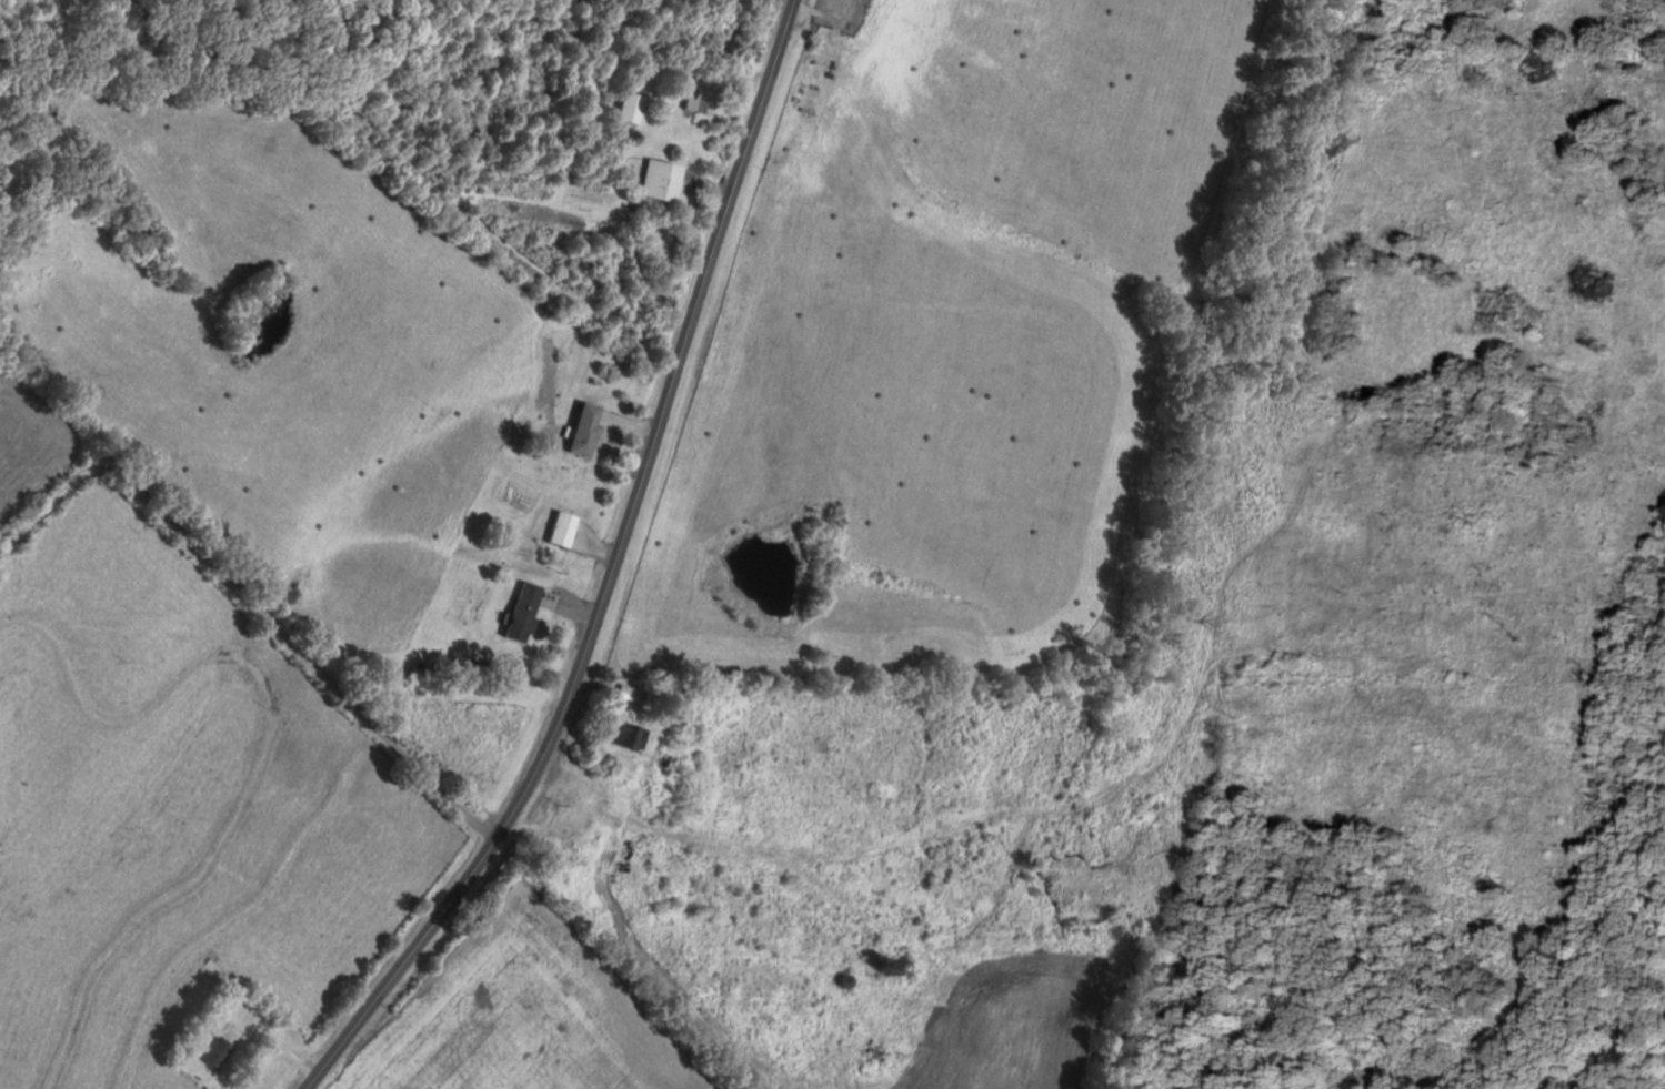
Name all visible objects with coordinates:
building: (703, 99)
building: (633, 108)
building: (665, 180)
building: (588, 430)
building: (565, 528)
road: (613, 575)
road: (258, 599)
building: (526, 611)
building: (634, 734)
building: (219, 1052)

